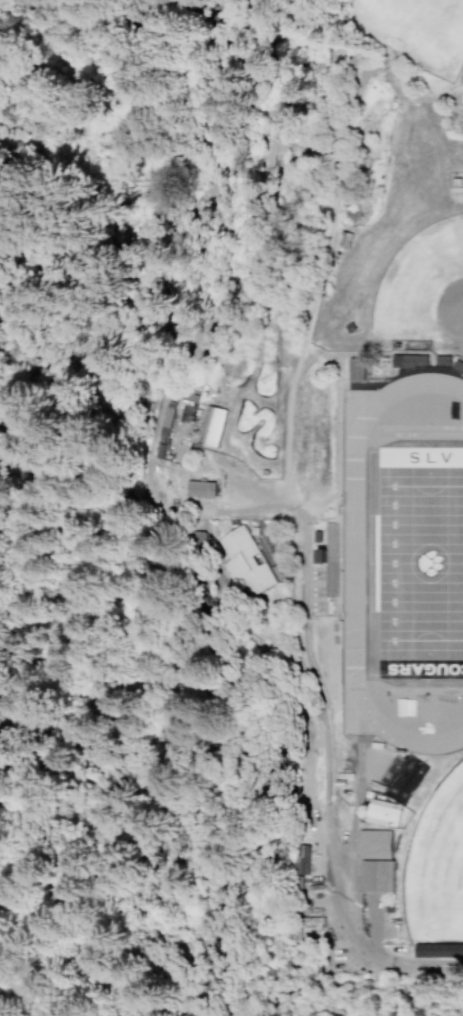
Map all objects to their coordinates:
park: (411, 28)
park: (141, 193)
park: (421, 286)
building: (409, 360)
building: (356, 369)
building: (201, 488)
road: (102, 496)
track: (353, 561)
park: (419, 561)
building: (249, 566)
road: (321, 735)
building: (381, 812)
building: (372, 843)
building: (299, 859)
park: (436, 864)
building: (374, 875)
building: (438, 950)

